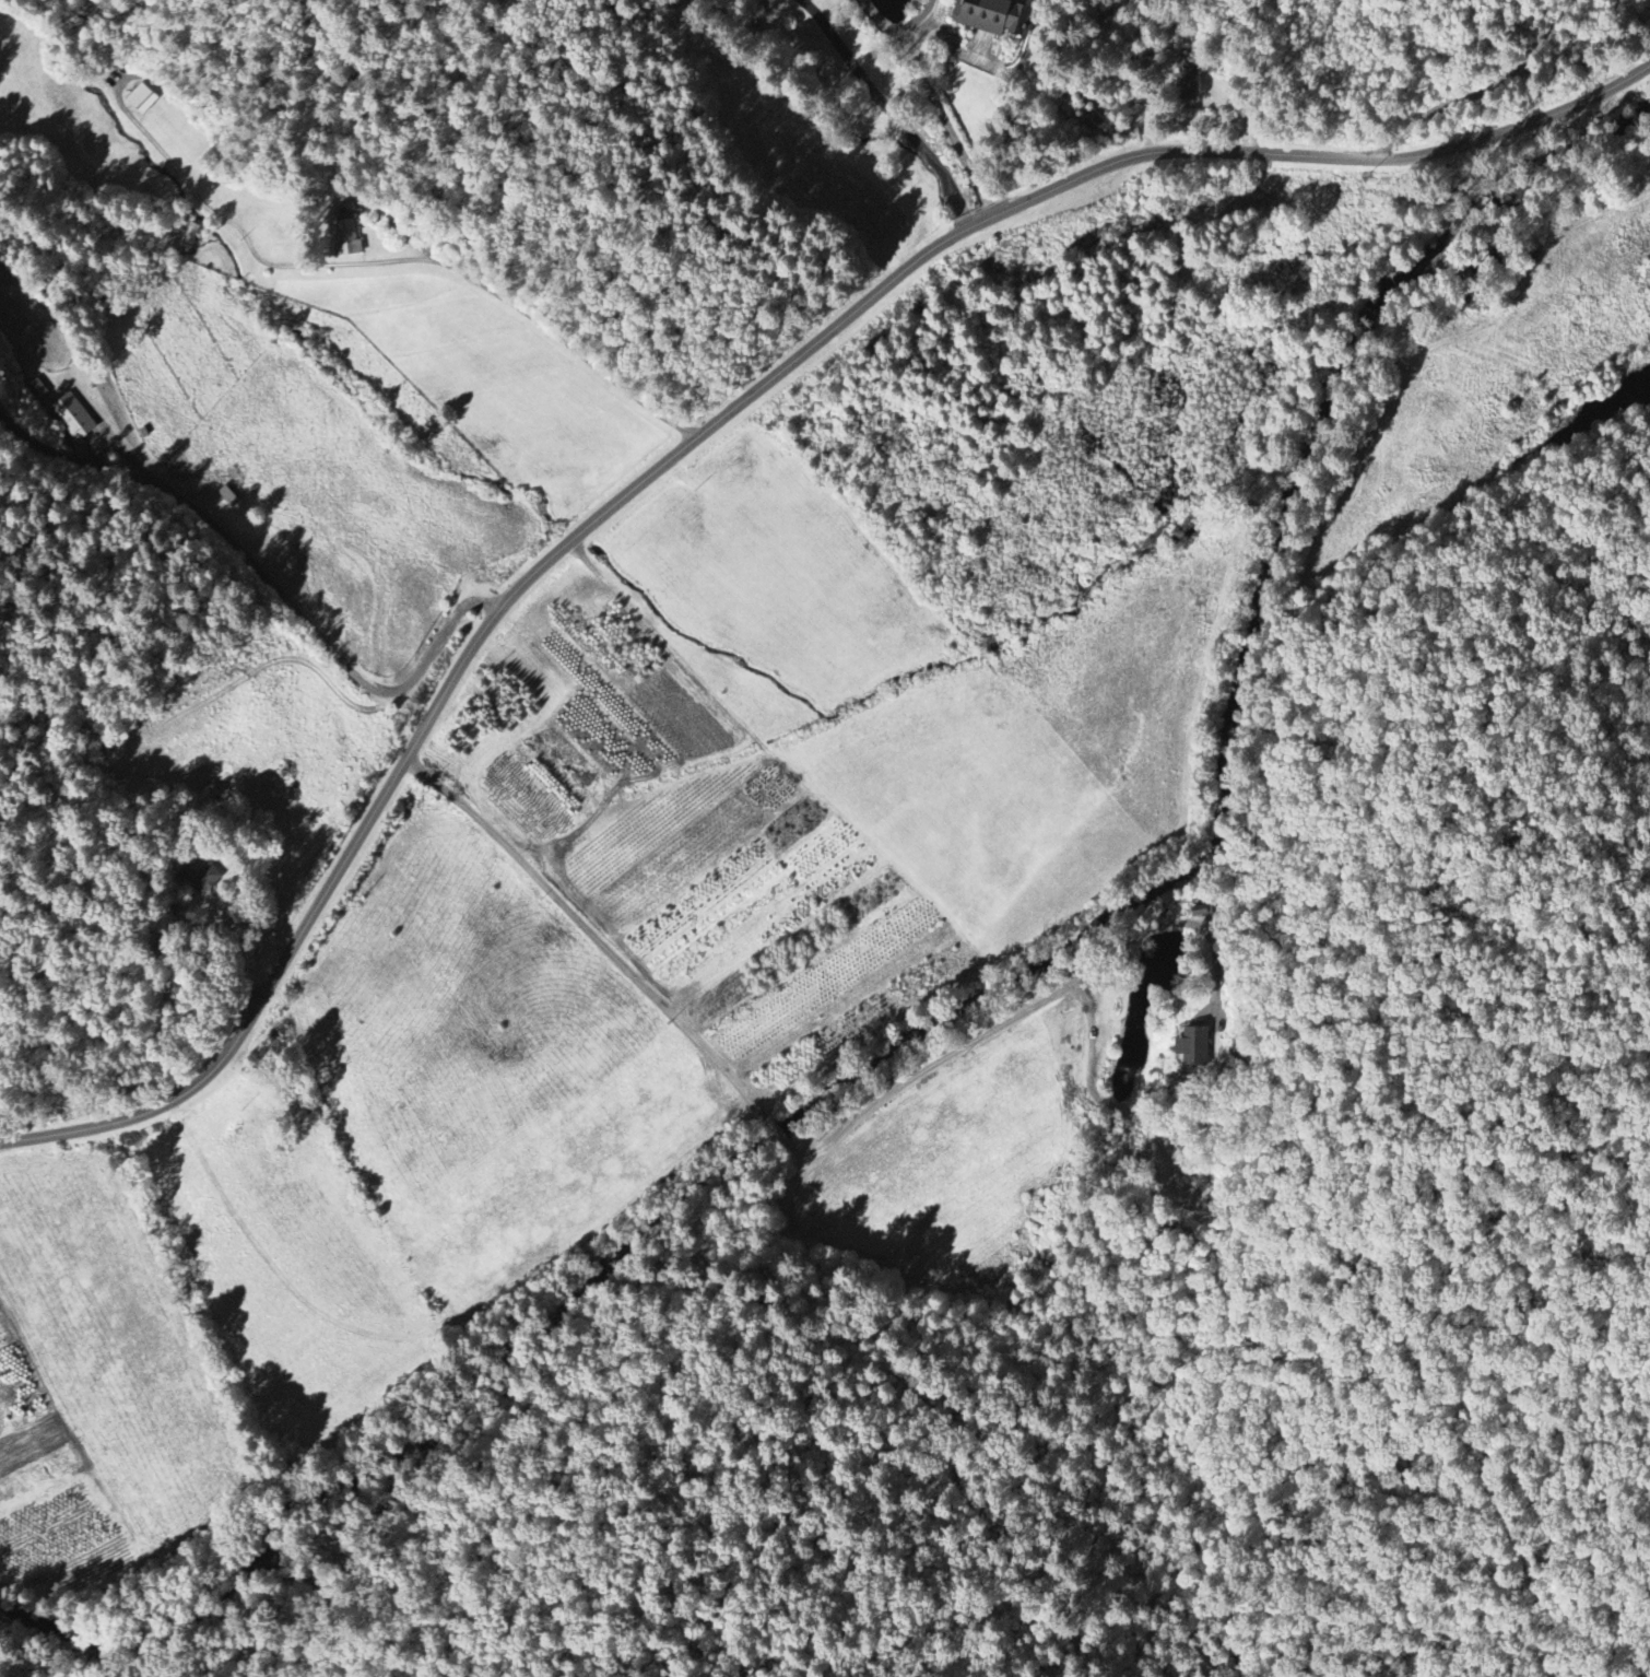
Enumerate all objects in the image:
building: (994, 16)
road: (903, 33)
road: (122, 78)
building: (142, 98)
road: (891, 110)
road: (947, 127)
road: (464, 232)
building: (347, 238)
river: (1458, 254)
building: (36, 389)
building: (73, 417)
road: (706, 429)
road: (131, 454)
road: (268, 580)
river: (1235, 643)
building: (209, 796)
building: (1193, 1047)
river: (717, 1173)
river: (226, 1584)
river: (83, 1631)

